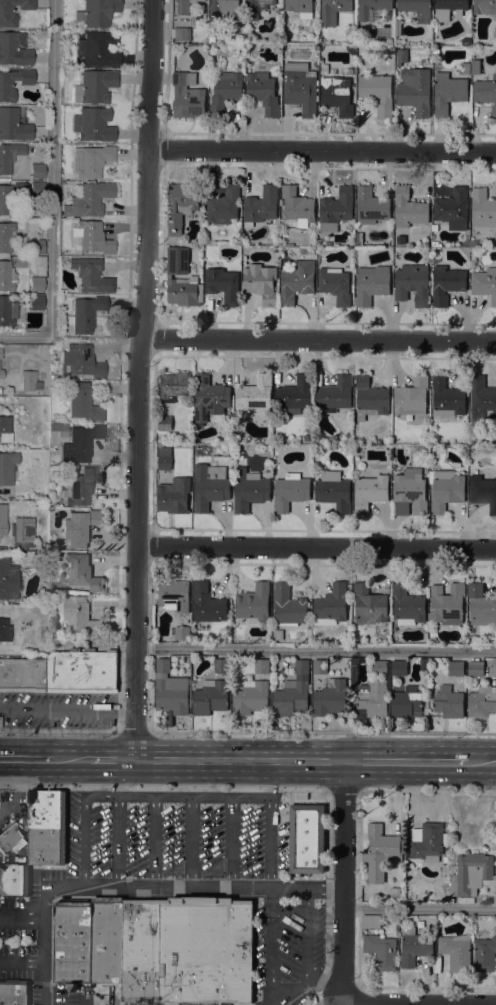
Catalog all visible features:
building: (183, 6)
building: (224, 7)
building: (300, 7)
building: (484, 7)
building: (257, 8)
building: (371, 8)
building: (448, 8)
building: (416, 9)
building: (333, 11)
building: (96, 13)
building: (8, 21)
building: (181, 34)
building: (14, 49)
building: (97, 49)
building: (351, 50)
building: (402, 55)
building: (475, 67)
building: (323, 69)
building: (465, 69)
building: (94, 86)
building: (5, 87)
building: (300, 87)
building: (377, 90)
building: (414, 91)
building: (225, 92)
building: (263, 92)
building: (448, 92)
building: (486, 93)
building: (337, 95)
building: (187, 96)
building: (92, 124)
building: (13, 125)
road: (322, 150)
building: (9, 156)
building: (91, 161)
building: (37, 173)
building: (37, 189)
road: (51, 190)
building: (9, 197)
building: (88, 200)
building: (224, 206)
building: (261, 206)
building: (297, 206)
building: (371, 206)
building: (482, 208)
building: (180, 209)
building: (336, 209)
building: (409, 209)
building: (453, 209)
building: (434, 228)
building: (5, 237)
building: (92, 238)
building: (400, 239)
building: (358, 242)
building: (434, 243)
building: (36, 247)
building: (465, 251)
building: (90, 275)
building: (6, 277)
building: (181, 279)
building: (297, 281)
building: (261, 282)
building: (36, 284)
building: (371, 284)
building: (446, 284)
building: (484, 284)
building: (223, 285)
building: (335, 285)
building: (412, 285)
building: (36, 303)
building: (7, 311)
building: (85, 314)
road: (317, 340)
building: (80, 361)
building: (1, 374)
road: (136, 379)
building: (28, 381)
building: (174, 386)
building: (333, 394)
building: (294, 396)
building: (256, 397)
building: (412, 397)
building: (370, 398)
building: (447, 398)
building: (210, 399)
building: (482, 399)
building: (83, 402)
building: (164, 423)
building: (5, 424)
building: (59, 429)
building: (5, 438)
building: (80, 444)
building: (164, 458)
building: (7, 468)
building: (210, 486)
building: (82, 488)
building: (249, 490)
building: (446, 490)
building: (484, 490)
building: (290, 491)
building: (334, 491)
building: (370, 492)
building: (409, 494)
building: (174, 495)
building: (80, 528)
building: (20, 536)
road: (316, 547)
building: (82, 572)
building: (8, 579)
building: (174, 595)
building: (254, 602)
building: (207, 603)
building: (369, 605)
building: (407, 605)
building: (447, 605)
building: (288, 606)
building: (331, 606)
building: (481, 606)
building: (80, 615)
building: (5, 630)
building: (182, 633)
building: (279, 635)
road: (315, 648)
building: (423, 664)
building: (261, 666)
building: (320, 667)
building: (354, 668)
building: (379, 668)
building: (399, 668)
building: (455, 668)
building: (475, 668)
building: (61, 673)
building: (170, 691)
building: (293, 691)
building: (212, 692)
building: (250, 697)
building: (330, 698)
building: (373, 699)
building: (481, 701)
building: (448, 702)
building: (405, 705)
road: (67, 708)
building: (0, 722)
road: (58, 731)
road: (134, 731)
road: (323, 733)
road: (27, 760)
road: (72, 760)
road: (112, 760)
road: (238, 760)
road: (404, 762)
road: (481, 763)
road: (162, 789)
road: (344, 790)
road: (428, 790)
road: (326, 791)
road: (134, 796)
road: (271, 825)
building: (47, 827)
road: (292, 835)
building: (307, 839)
building: (11, 840)
parking lot: (177, 840)
road: (118, 841)
road: (155, 842)
road: (191, 842)
road: (231, 842)
building: (426, 842)
building: (379, 852)
road: (63, 858)
building: (444, 869)
building: (471, 875)
building: (14, 879)
road: (344, 879)
road: (203, 888)
building: (394, 892)
road: (281, 895)
road: (327, 900)
road: (117, 901)
road: (420, 907)
road: (23, 918)
building: (370, 922)
building: (420, 924)
road: (306, 937)
road: (45, 941)
building: (158, 947)
building: (414, 947)
road: (272, 948)
building: (381, 951)
building: (456, 952)
building: (484, 955)
road: (22, 963)
road: (14, 983)
road: (307, 983)
road: (41, 984)
building: (13, 992)
road: (395, 1004)

